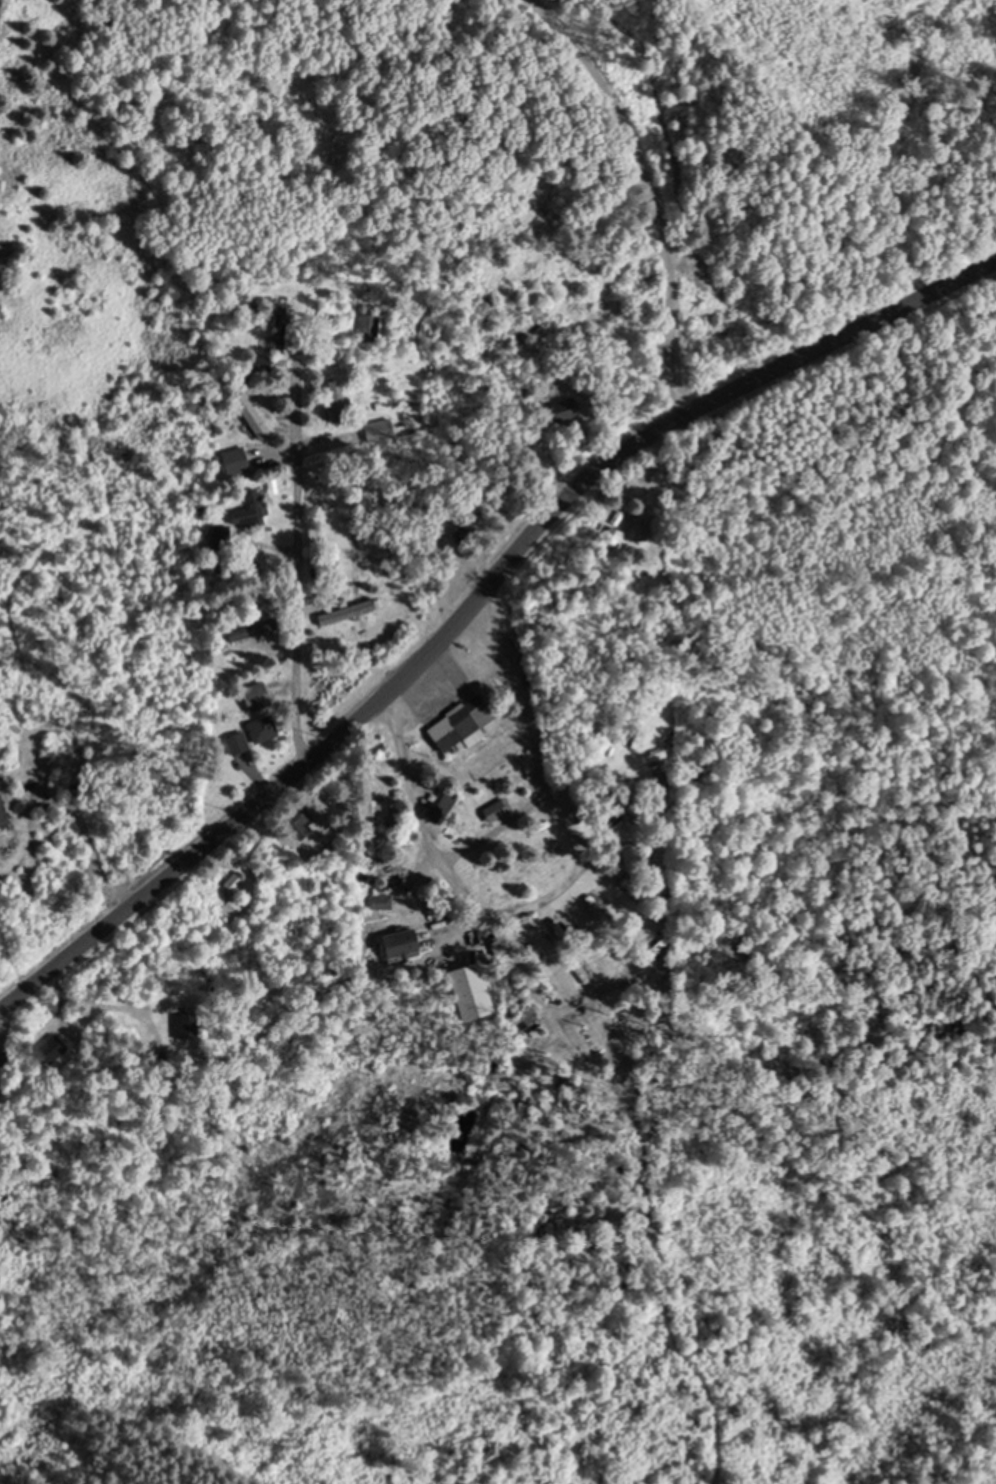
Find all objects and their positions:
road: (656, 190)
building: (279, 332)
building: (260, 365)
building: (335, 402)
building: (560, 411)
building: (249, 417)
building: (247, 512)
building: (634, 529)
building: (609, 536)
road: (296, 564)
road: (474, 596)
building: (344, 611)
building: (245, 631)
building: (253, 698)
building: (456, 724)
building: (251, 735)
building: (438, 806)
building: (370, 810)
building: (492, 810)
building: (0, 812)
building: (295, 819)
road: (495, 832)
building: (236, 885)
road: (561, 888)
building: (229, 908)
building: (393, 943)

